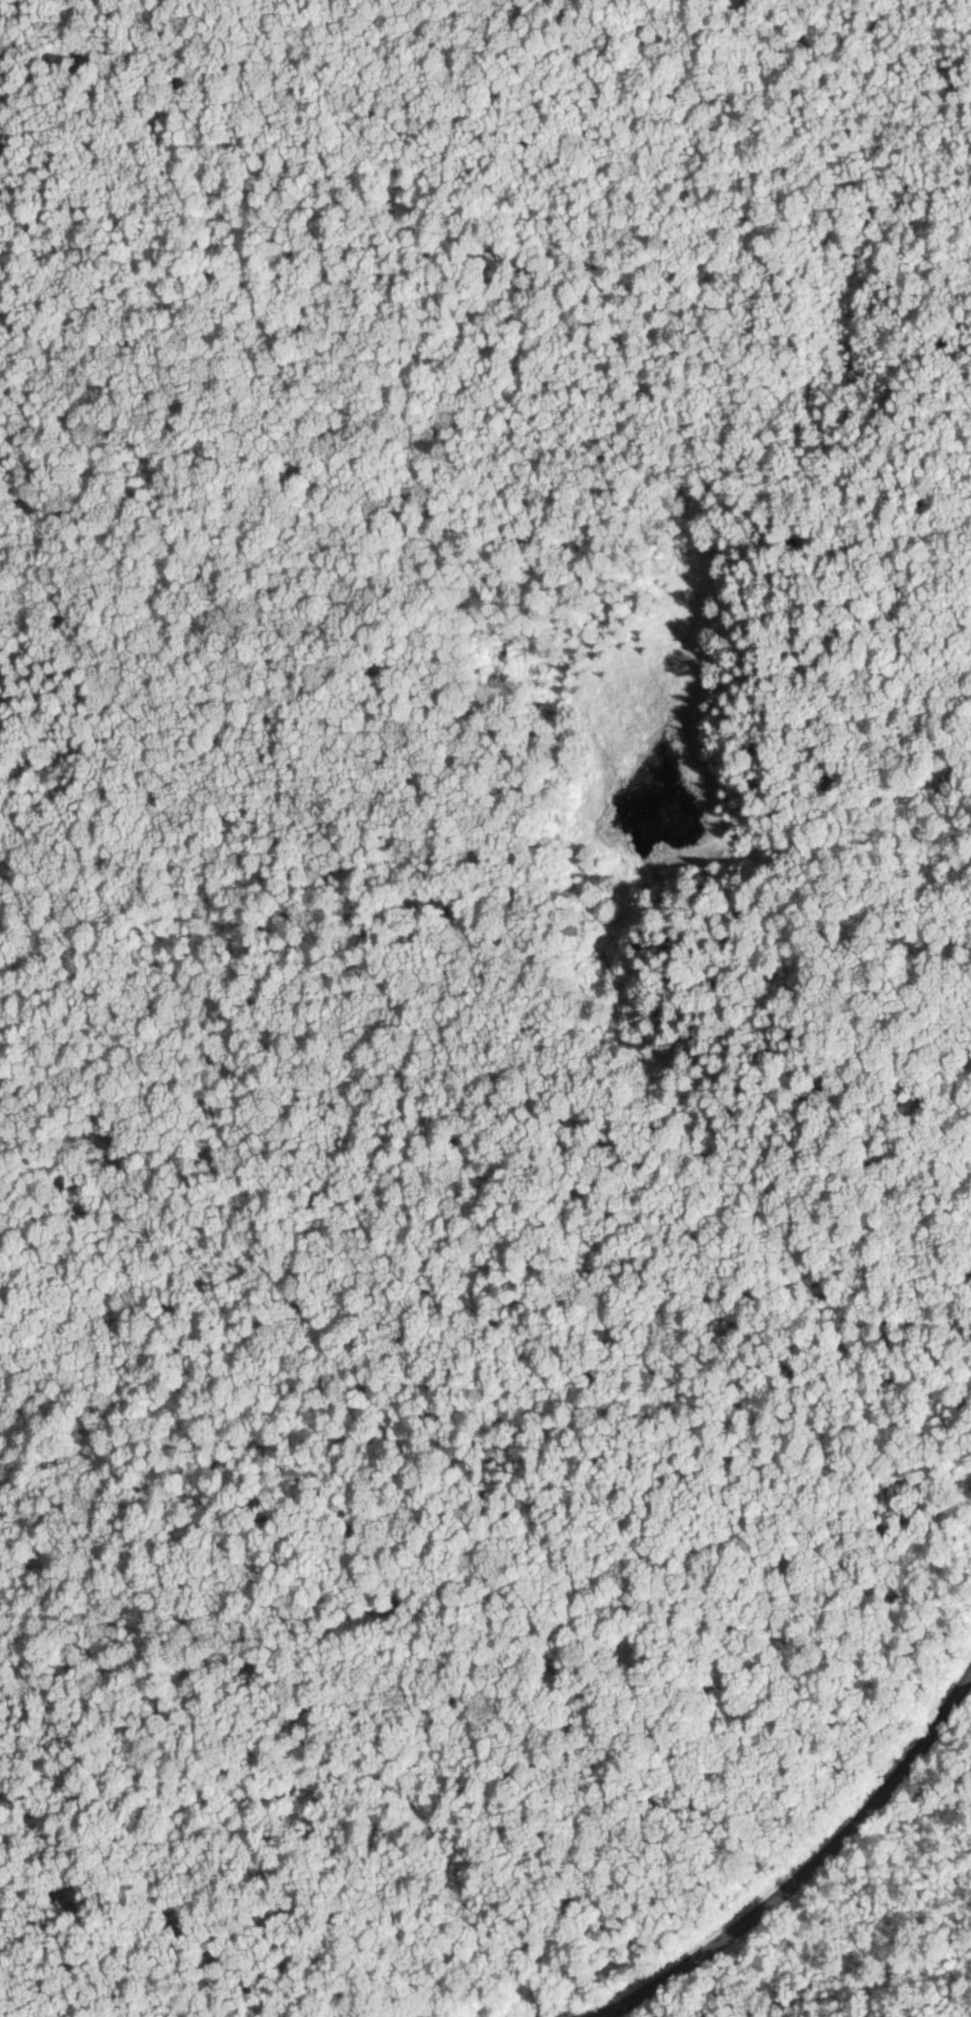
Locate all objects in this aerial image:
road: (806, 1856)

